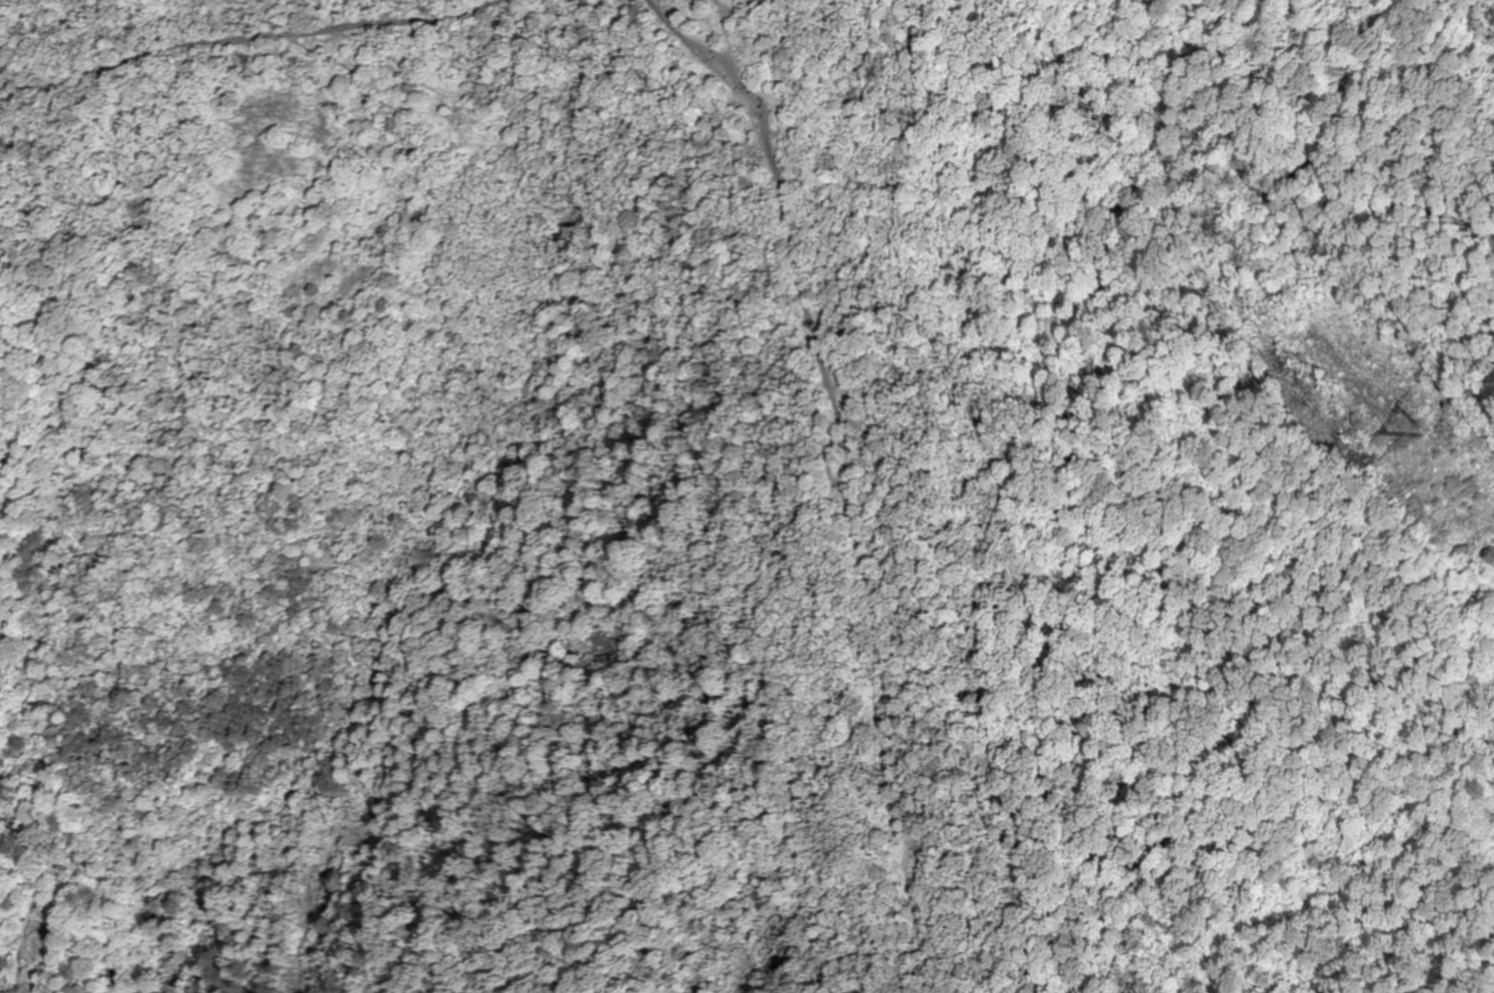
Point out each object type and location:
power tower: (1412, 445)
road: (850, 493)
road: (536, 694)

